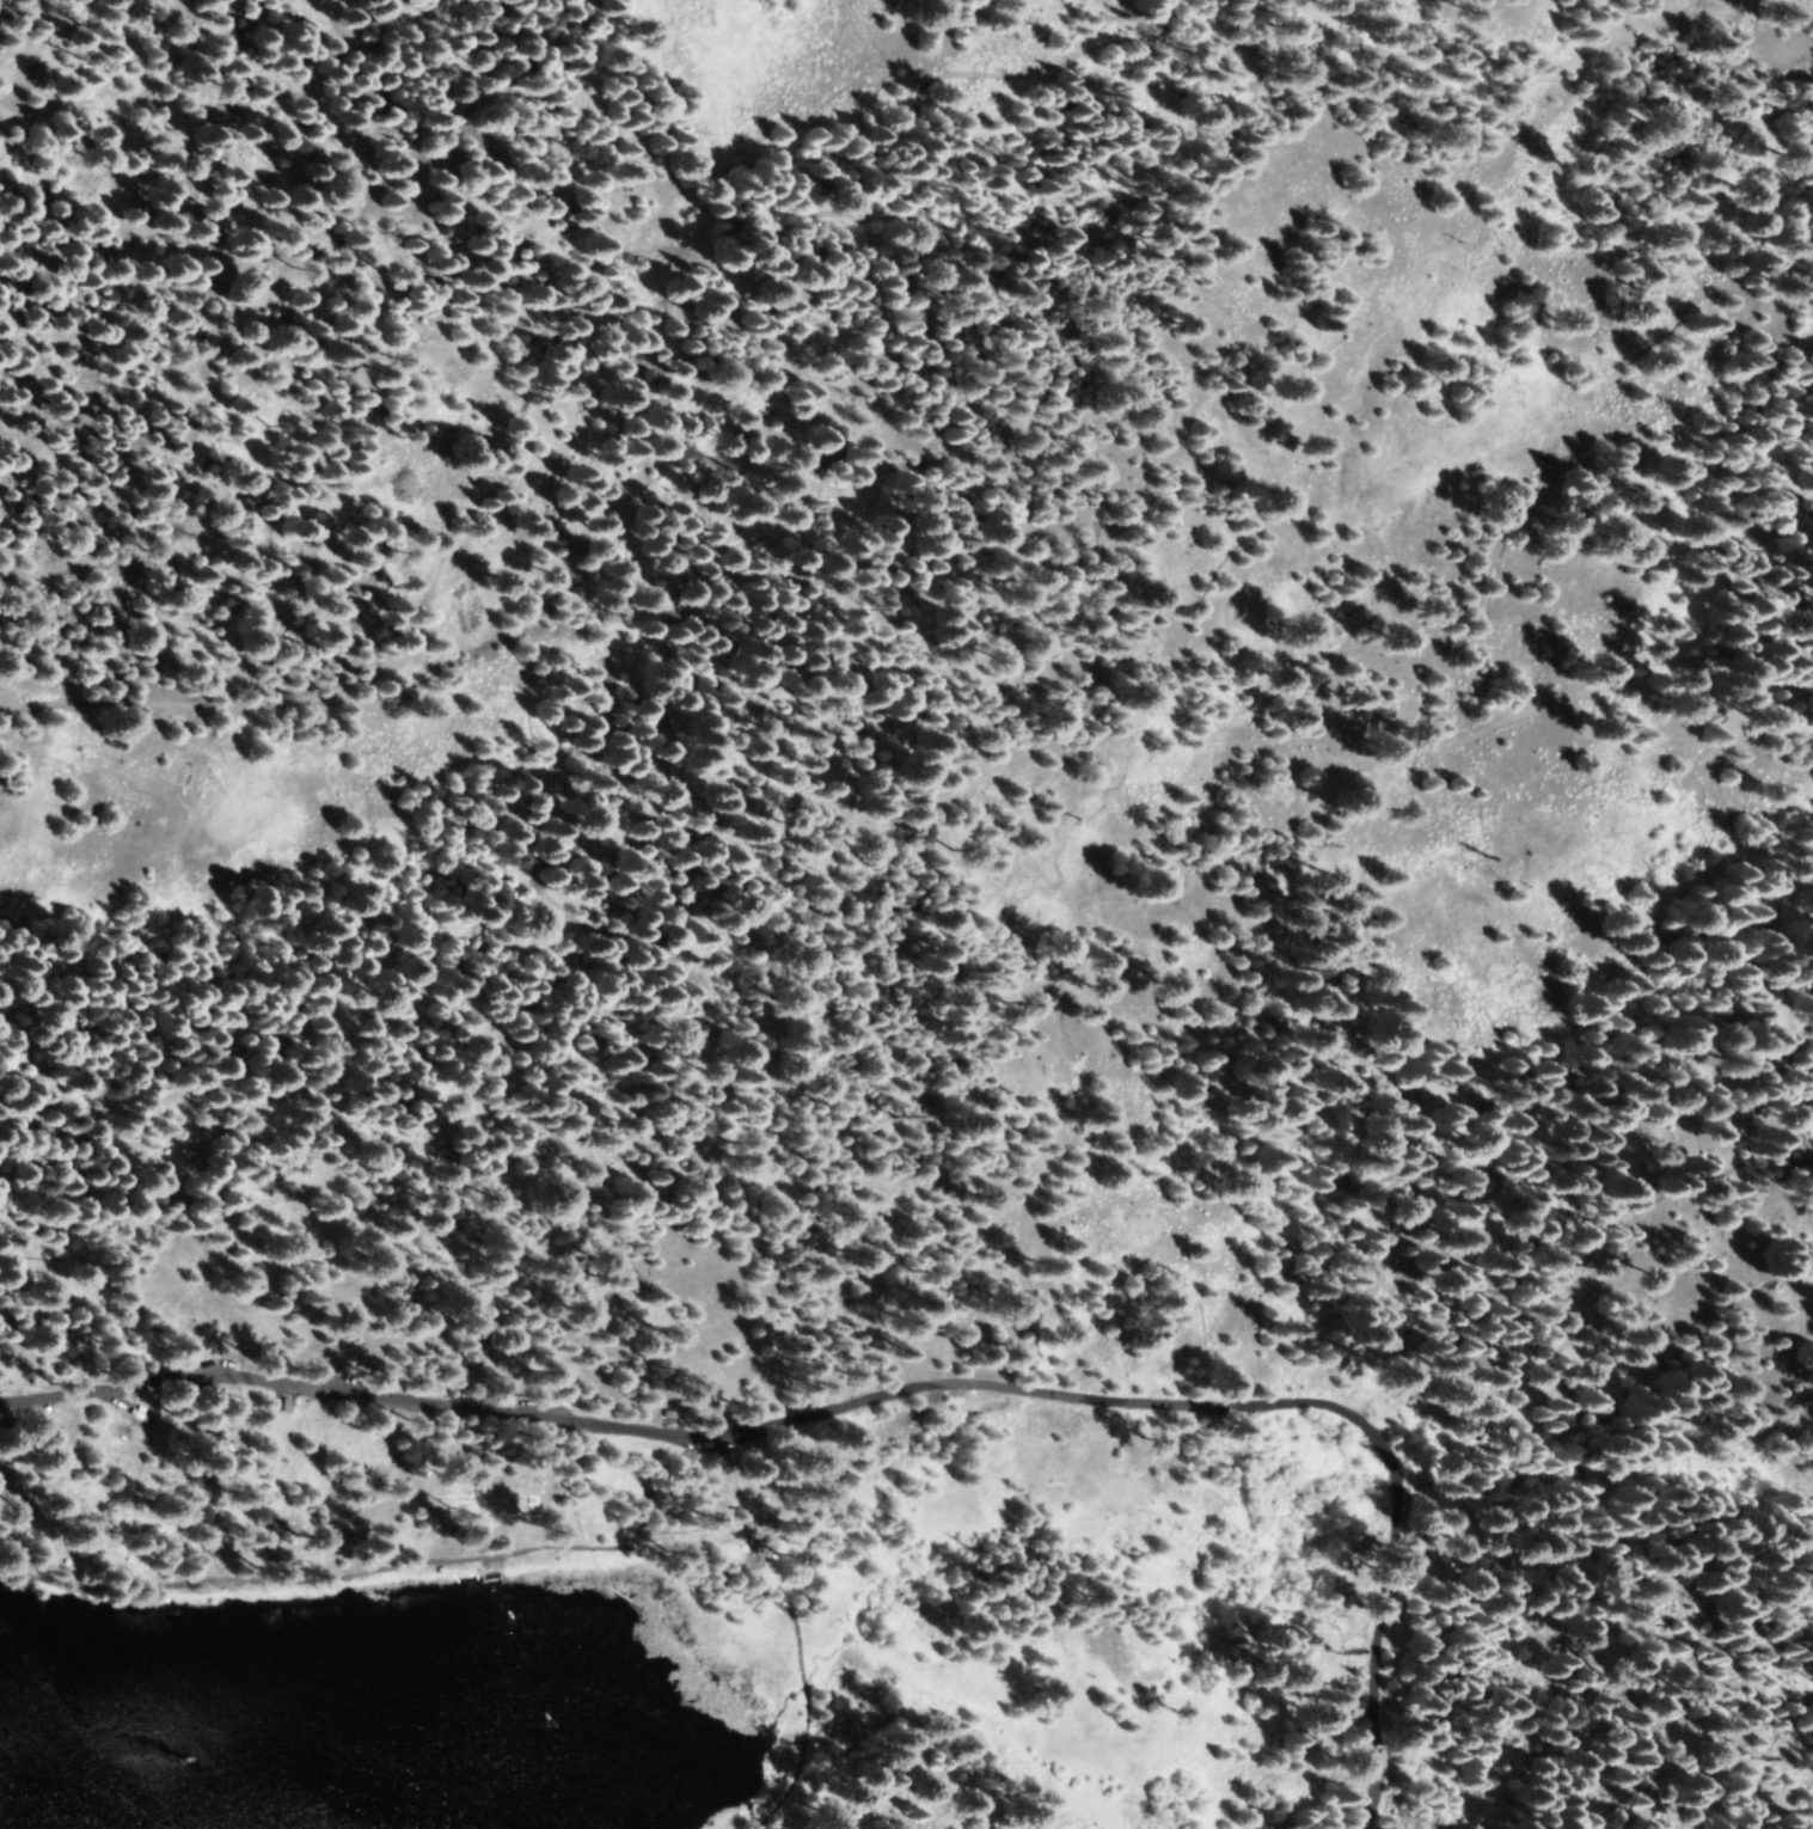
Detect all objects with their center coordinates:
road: (561, 314)
road: (1809, 1162)
road: (889, 1394)
building: (551, 1489)
road: (515, 1549)

